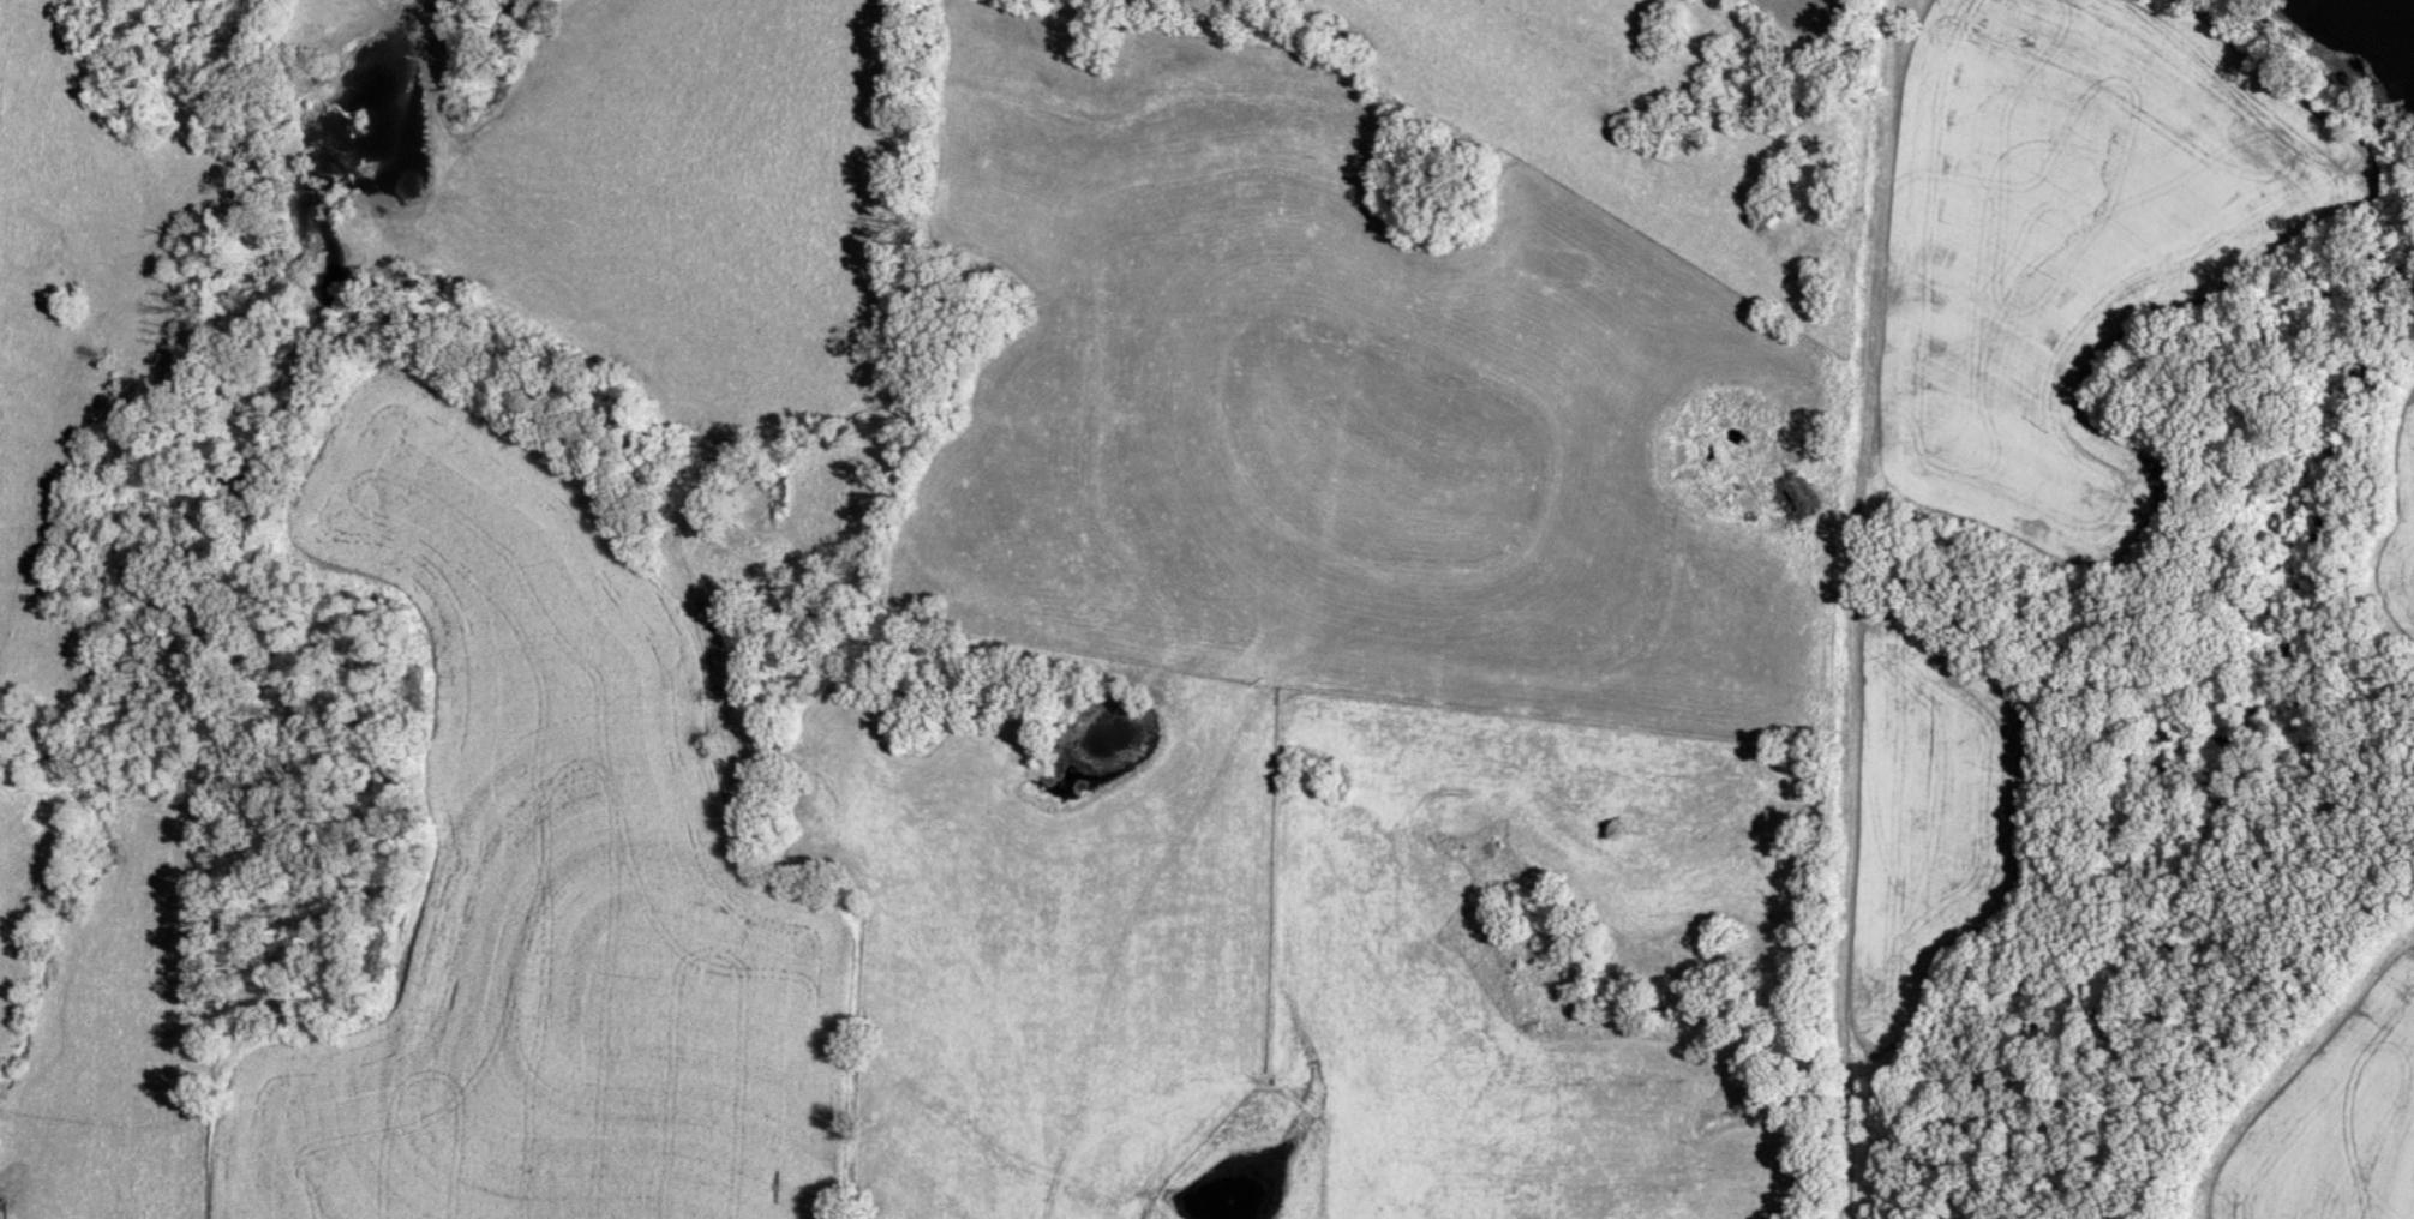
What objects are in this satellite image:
road: (1865, 609)
road: (1272, 968)
road: (859, 999)

